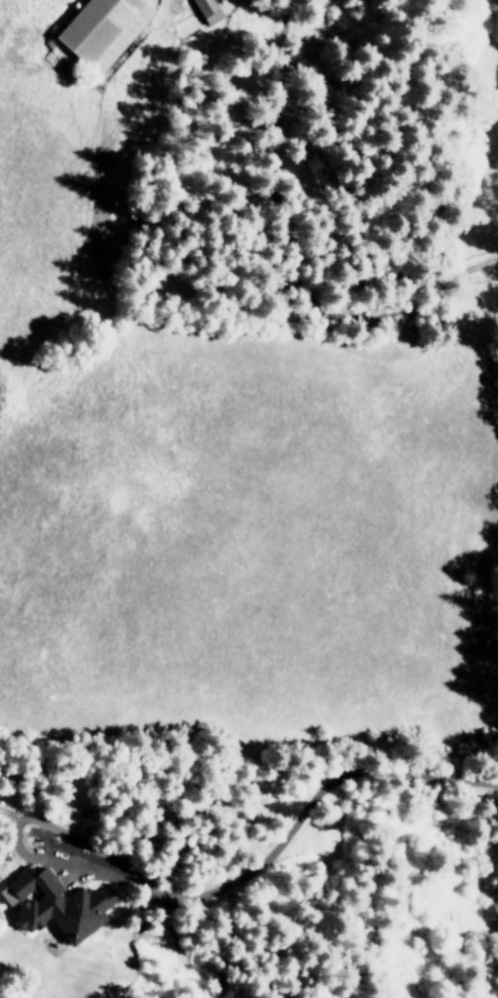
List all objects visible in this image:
building: (207, 10)
building: (102, 29)
road: (281, 229)
road: (287, 826)
road: (73, 839)
building: (57, 903)

